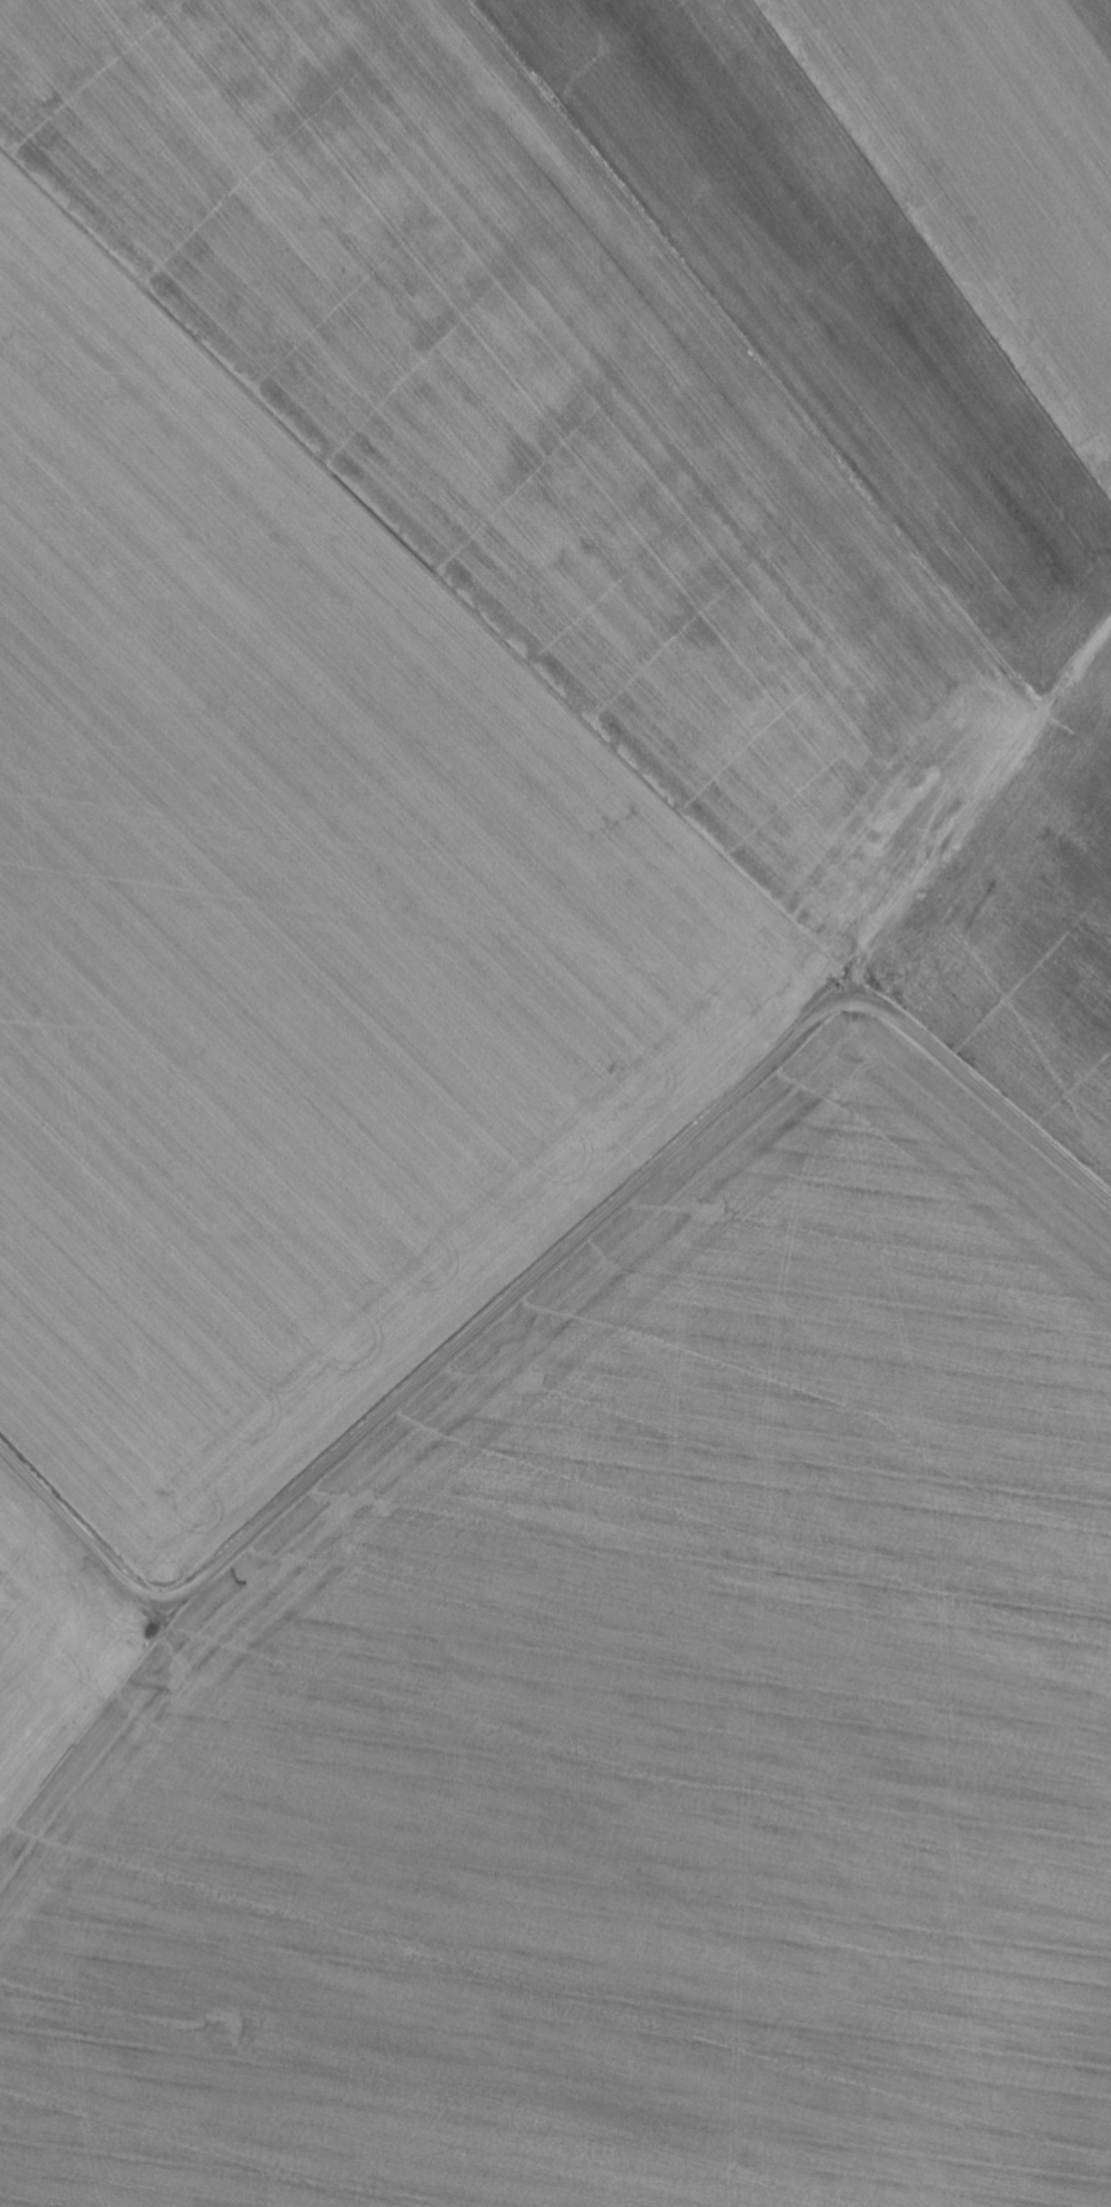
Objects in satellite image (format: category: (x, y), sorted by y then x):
road: (504, 510)
road: (549, 1266)
road: (769, 1525)

